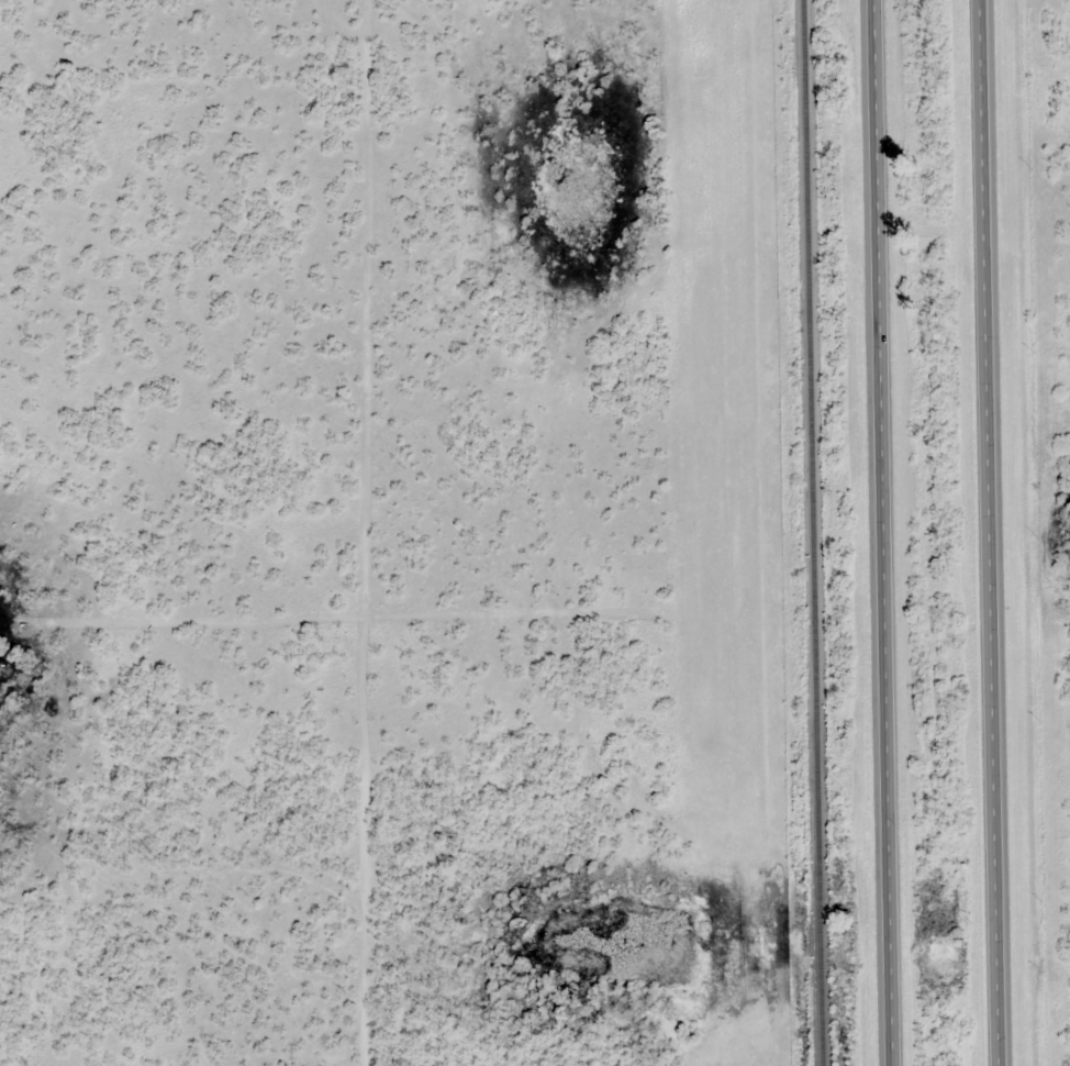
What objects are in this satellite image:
road: (994, 532)
railway: (816, 533)
road: (887, 533)

